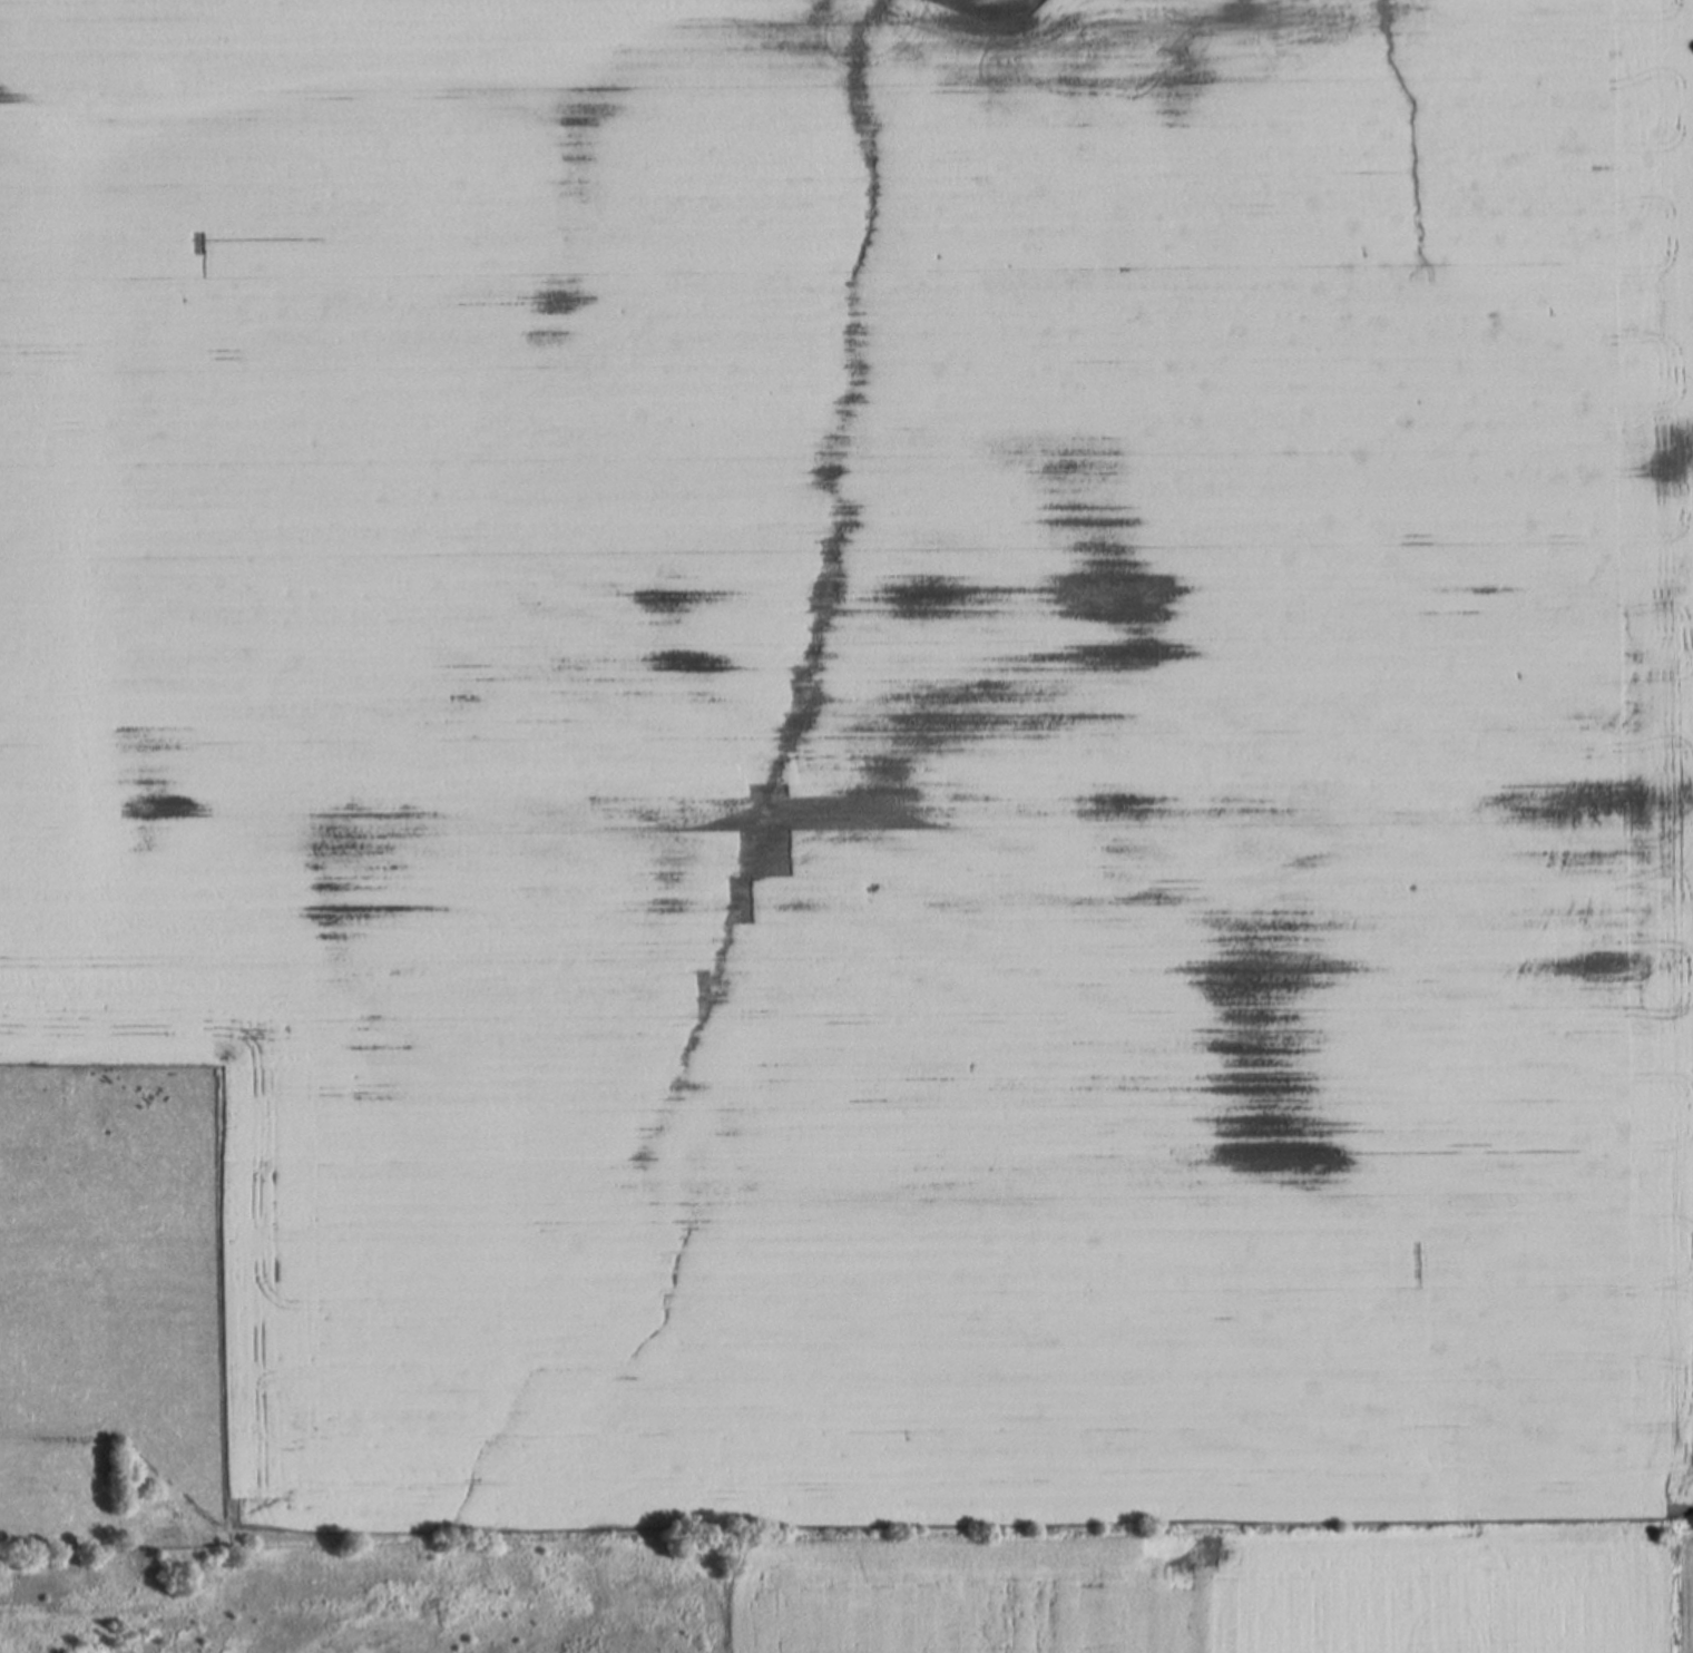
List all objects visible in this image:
landfill: (369, 1601)

